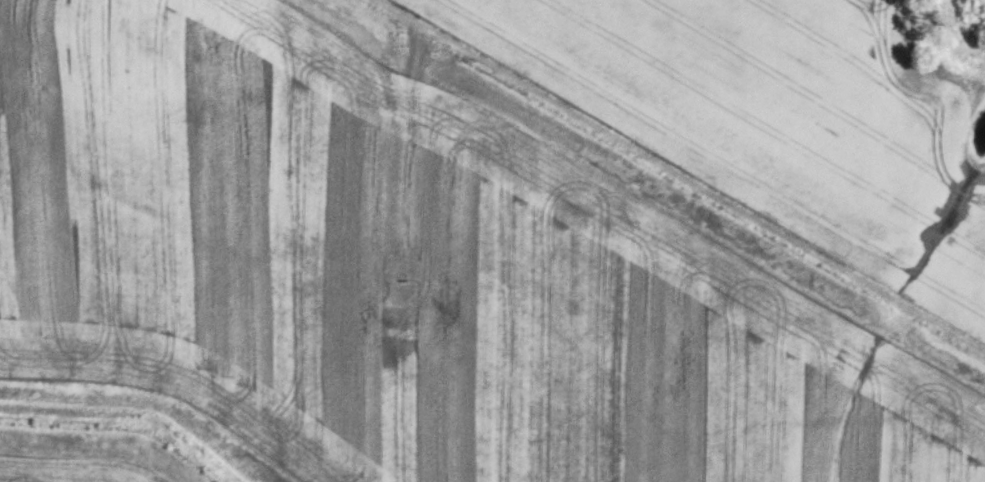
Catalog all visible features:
road: (681, 174)

